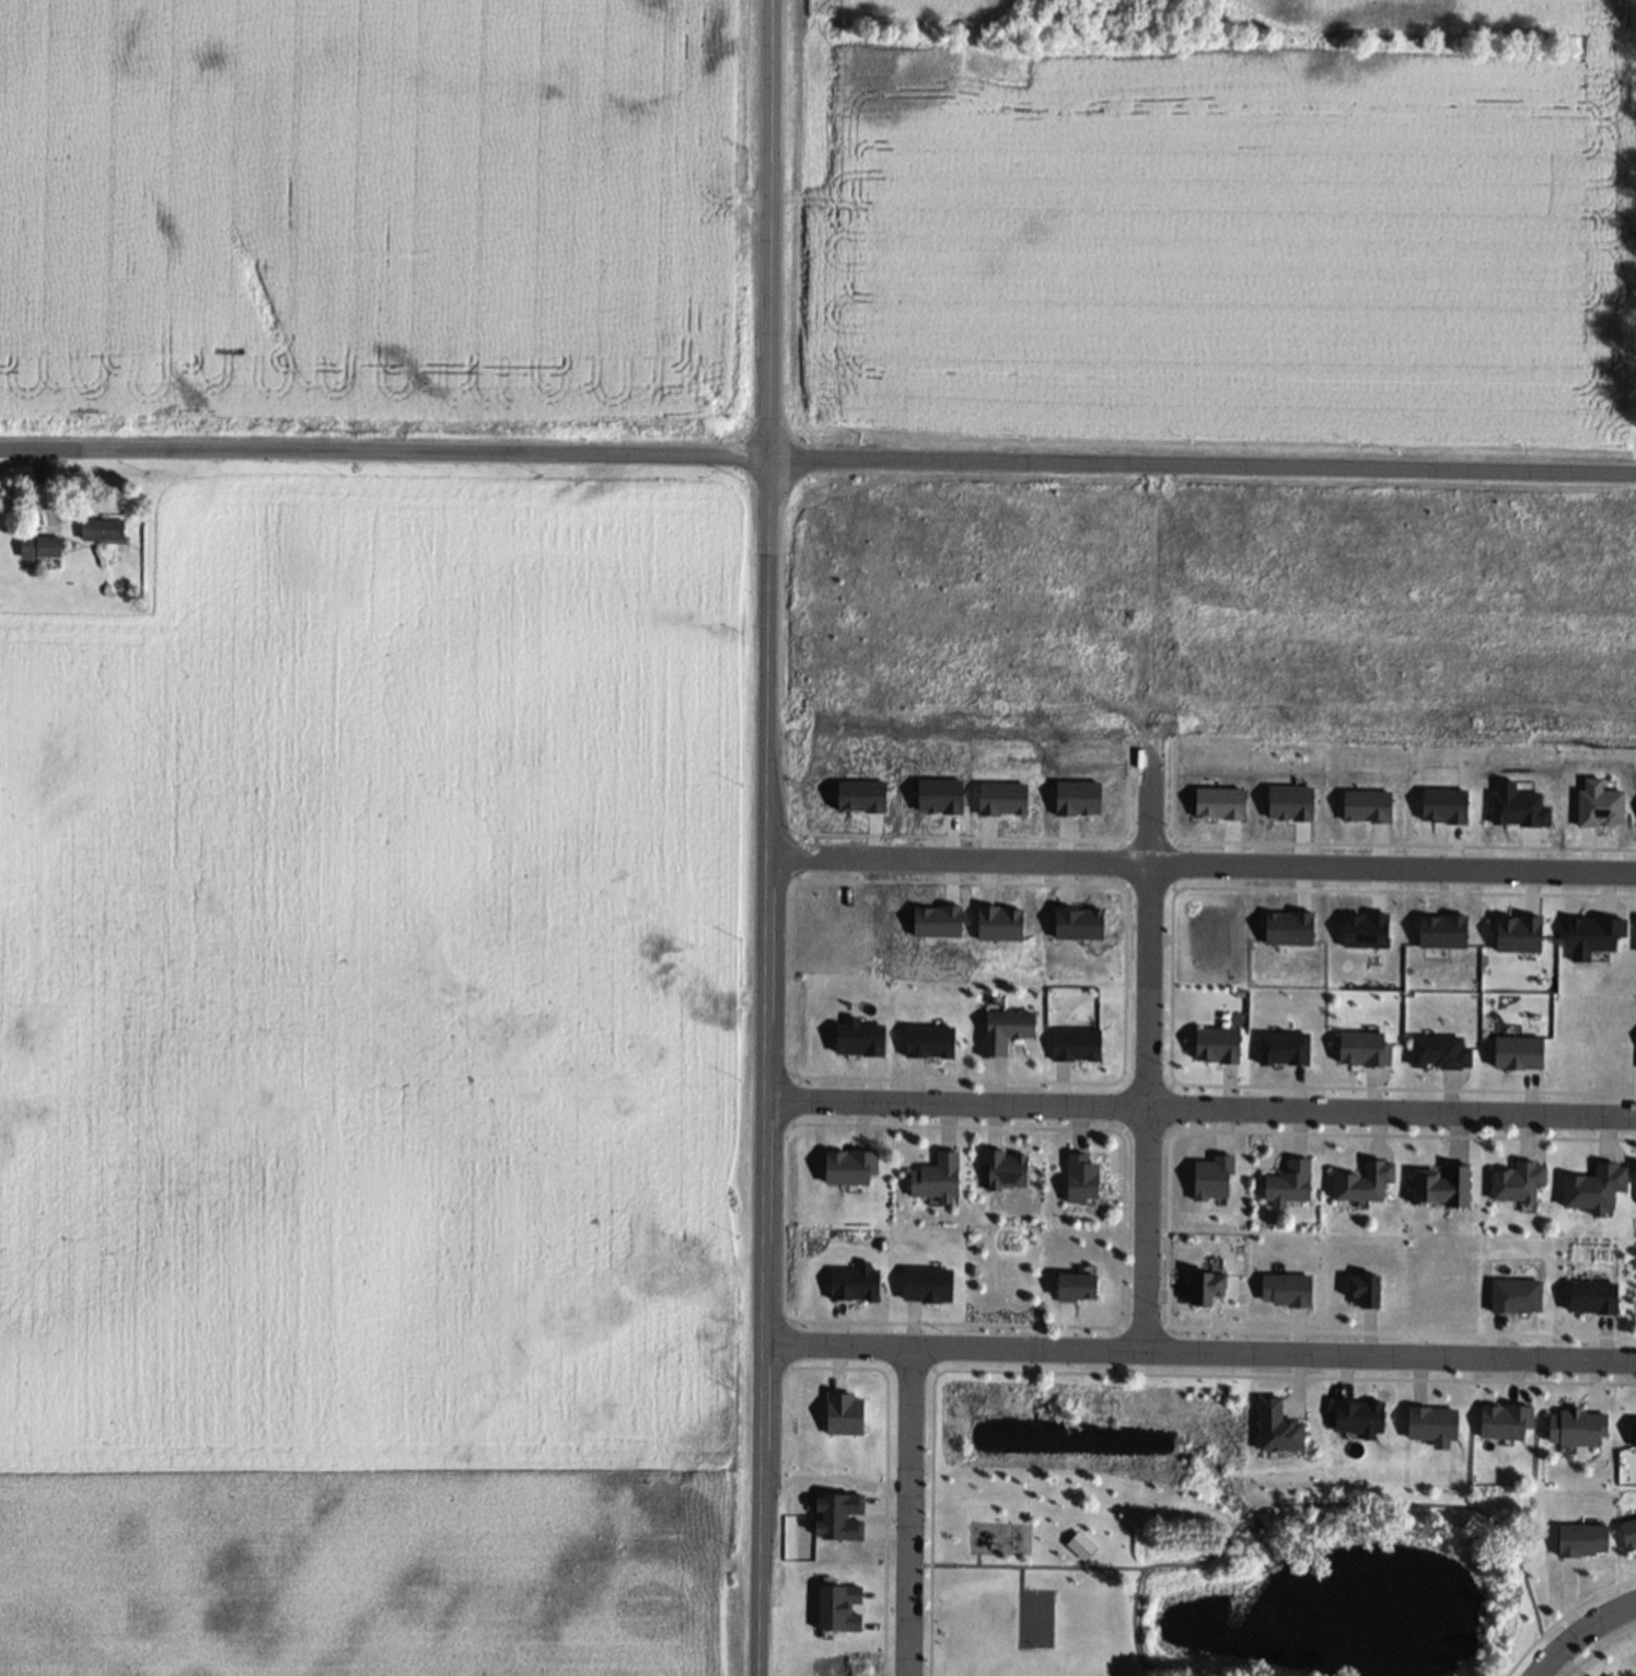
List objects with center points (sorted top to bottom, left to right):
road: (384, 450)
road: (1203, 464)
building: (112, 536)
building: (47, 554)
road: (764, 837)
road: (1199, 864)
building: (1014, 1037)
road: (1151, 1050)
road: (1198, 1114)
building: (1014, 1175)
building: (945, 1183)
building: (1091, 1184)
building: (1373, 1187)
building: (1527, 1187)
building: (1297, 1189)
building: (1448, 1190)
building: (1084, 1292)
road: (1198, 1359)
road: (917, 1516)
park: (1194, 1539)
building: (1084, 1551)
road: (1586, 1634)

